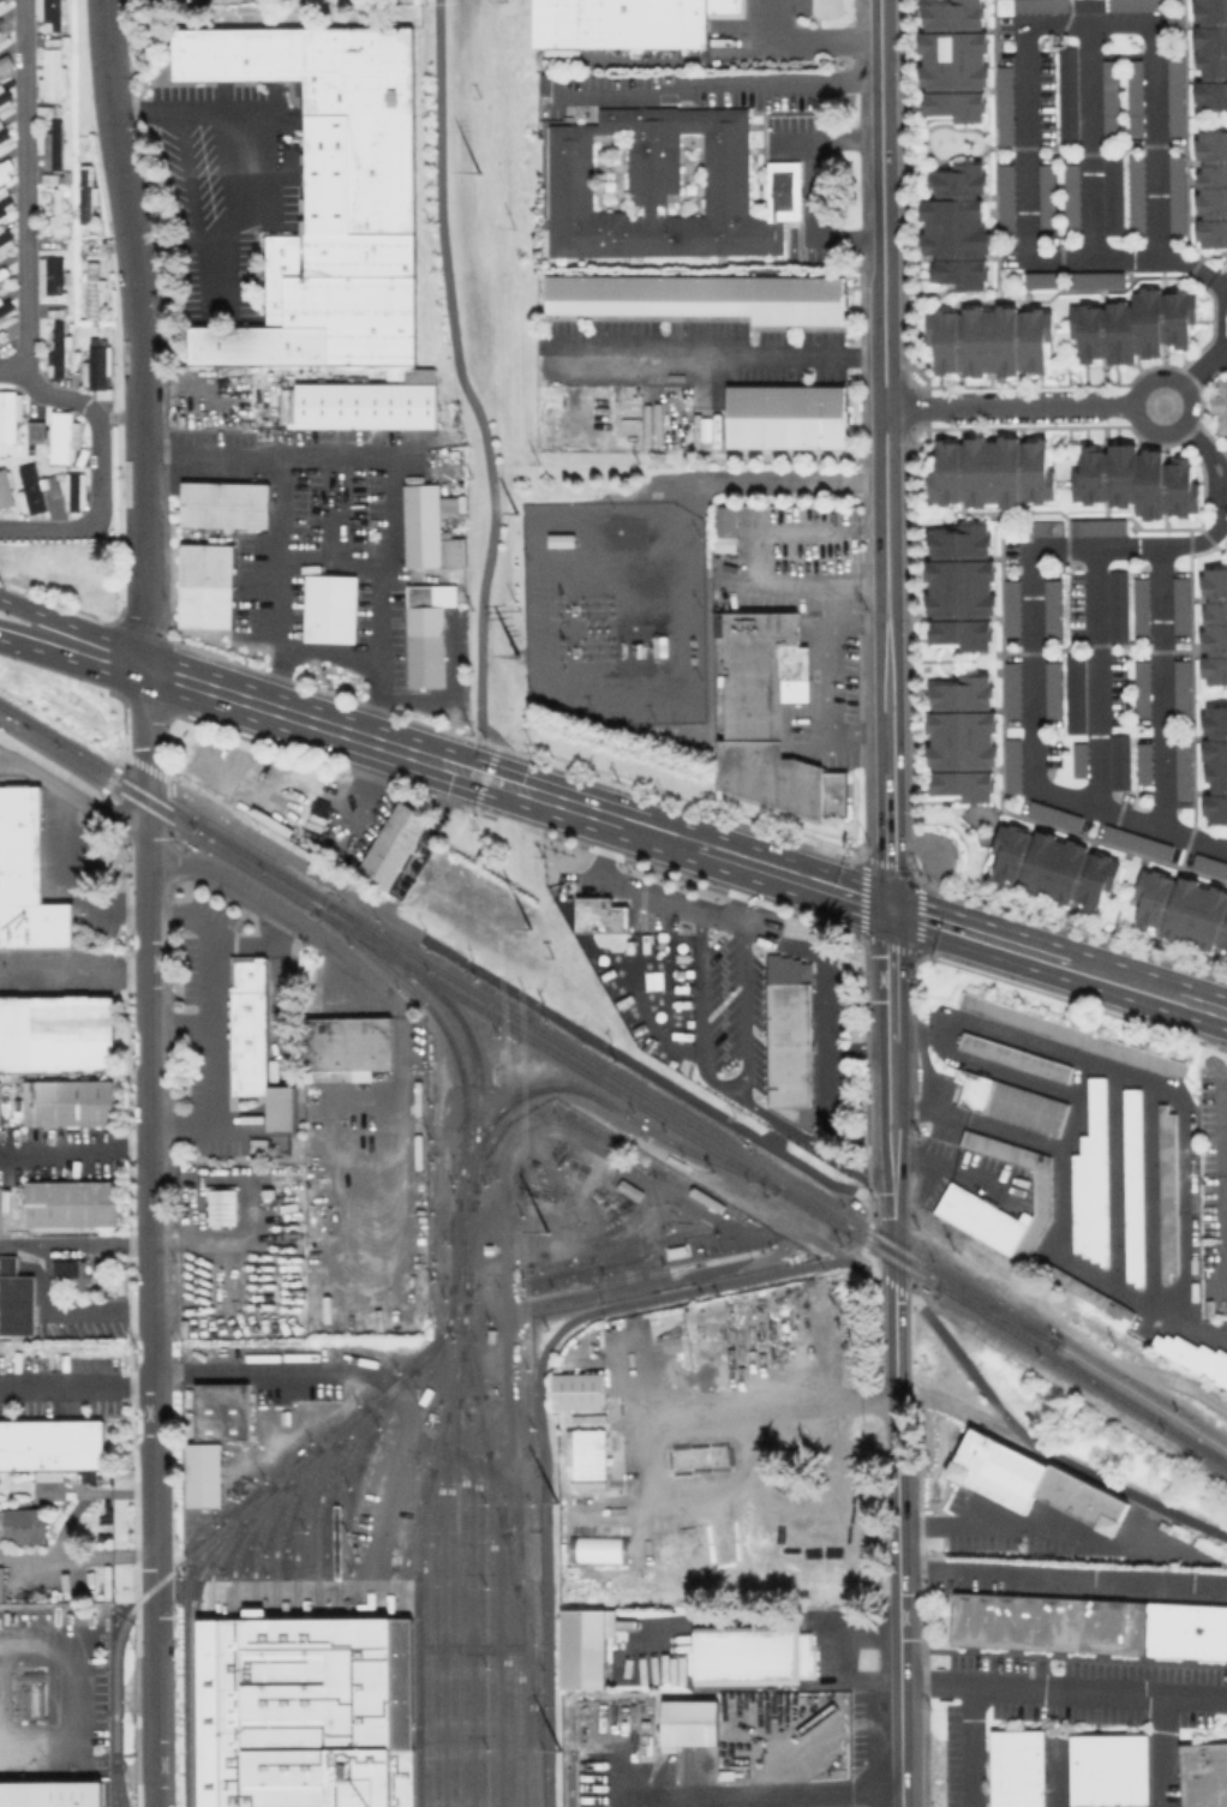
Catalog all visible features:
building: (2, 1)
building: (1043, 6)
building: (1093, 6)
building: (1139, 6)
building: (47, 13)
building: (627, 22)
building: (1177, 25)
road: (814, 40)
road: (1020, 52)
building: (1214, 56)
building: (957, 60)
building: (50, 74)
building: (569, 78)
road: (718, 80)
building: (4, 97)
building: (1071, 97)
building: (1178, 97)
building: (1138, 98)
building: (1112, 100)
building: (1007, 107)
road: (125, 112)
building: (2, 134)
road: (880, 136)
road: (1088, 137)
building: (50, 145)
road: (246, 154)
building: (5, 168)
building: (664, 185)
road: (810, 189)
building: (1214, 191)
building: (84, 193)
building: (1179, 195)
building: (329, 196)
building: (1075, 196)
building: (1115, 196)
building: (1139, 196)
building: (1049, 197)
road: (26, 201)
building: (5, 202)
building: (1010, 202)
building: (53, 223)
building: (959, 226)
building: (4, 239)
building: (49, 275)
building: (1043, 281)
building: (1099, 281)
road: (1217, 281)
building: (90, 289)
building: (705, 298)
building: (5, 305)
building: (1133, 325)
road: (137, 331)
building: (992, 340)
road: (718, 347)
building: (55, 351)
building: (95, 364)
road: (460, 365)
road: (1191, 373)
building: (421, 375)
road: (882, 389)
building: (1220, 400)
building: (364, 407)
road: (1022, 407)
building: (8, 414)
building: (789, 418)
building: (35, 430)
building: (61, 437)
road: (1201, 448)
building: (994, 473)
road: (102, 475)
building: (1138, 480)
road: (792, 485)
building: (5, 489)
building: (34, 489)
building: (72, 491)
building: (223, 505)
road: (280, 508)
building: (1048, 528)
building: (1101, 528)
building: (427, 529)
building: (728, 531)
building: (562, 539)
road: (388, 541)
road: (752, 556)
road: (885, 560)
building: (204, 587)
building: (962, 587)
building: (1183, 605)
building: (1120, 606)
building: (1143, 606)
power substation: (615, 609)
building: (1014, 609)
building: (1054, 609)
building: (329, 610)
building: (1215, 626)
road: (74, 628)
building: (424, 634)
road: (72, 662)
road: (1030, 662)
road: (1095, 672)
road: (819, 677)
road: (1161, 681)
building: (1184, 688)
building: (1145, 689)
building: (1055, 690)
building: (1016, 692)
building: (1078, 694)
building: (771, 716)
road: (315, 720)
road: (490, 734)
road: (4, 736)
railway: (54, 737)
building: (965, 740)
road: (1, 750)
railway: (55, 753)
road: (887, 761)
building: (1082, 761)
building: (1123, 764)
building: (1147, 765)
building: (1016, 766)
building: (1217, 768)
building: (1185, 772)
railway: (114, 773)
road: (80, 782)
railway: (144, 790)
road: (73, 792)
road: (68, 797)
road: (194, 800)
railway: (142, 804)
building: (1057, 816)
railway: (186, 818)
building: (395, 843)
road: (686, 843)
building: (1139, 843)
railway: (240, 863)
railway: (264, 866)
building: (1211, 866)
building: (1057, 867)
road: (66, 874)
building: (25, 876)
road: (334, 884)
road: (756, 898)
road: (271, 908)
road: (671, 908)
traffic signals: (890, 909)
building: (1185, 910)
road: (136, 913)
road: (166, 913)
building: (599, 915)
railway: (479, 921)
railway: (361, 929)
railway: (353, 932)
road: (256, 941)
railway: (354, 941)
railway: (424, 961)
road: (1058, 962)
road: (59, 970)
road: (134, 970)
railway: (430, 987)
railway: (457, 995)
road: (891, 1012)
road: (211, 1017)
road: (181, 1023)
building: (247, 1025)
building: (55, 1033)
building: (1073, 1034)
building: (788, 1037)
building: (347, 1045)
building: (1016, 1055)
railway: (457, 1065)
railway: (477, 1066)
road: (735, 1076)
railway: (535, 1089)
road: (687, 1095)
building: (67, 1102)
building: (1013, 1102)
railway: (647, 1111)
road: (233, 1120)
railway: (692, 1123)
road: (173, 1124)
building: (418, 1131)
road: (131, 1149)
road: (55, 1150)
railway: (473, 1151)
railway: (713, 1160)
building: (1094, 1179)
building: (1135, 1185)
railway: (459, 1186)
building: (628, 1190)
building: (1169, 1191)
building: (269, 1192)
road: (1220, 1193)
road: (892, 1201)
building: (70, 1203)
building: (221, 1205)
railway: (818, 1214)
road: (152, 1235)
building: (1008, 1235)
road: (76, 1243)
railway: (891, 1244)
railway: (460, 1245)
railway: (461, 1245)
railway: (891, 1257)
railway: (687, 1264)
road: (861, 1268)
building: (67, 1273)
railway: (645, 1273)
railway: (617, 1274)
railway: (927, 1280)
road: (504, 1286)
road: (635, 1287)
railway: (463, 1292)
building: (16, 1299)
railway: (963, 1299)
railway: (987, 1303)
road: (58, 1310)
road: (138, 1312)
railway: (992, 1320)
railway: (1024, 1327)
building: (760, 1336)
road: (894, 1336)
building: (581, 1346)
building: (1190, 1357)
road: (61, 1387)
road: (138, 1387)
railway: (390, 1388)
building: (579, 1390)
road: (939, 1394)
railway: (1141, 1395)
road: (777, 1405)
railway: (445, 1407)
railway: (1139, 1408)
building: (220, 1411)
railway: (348, 1424)
road: (543, 1430)
road: (1035, 1442)
building: (50, 1444)
road: (459, 1455)
railway: (299, 1465)
road: (399, 1467)
building: (200, 1474)
rooftop solar panel: (50, 1478)
building: (1034, 1483)
building: (52, 1489)
railway: (262, 1492)
railway: (495, 1497)
railway: (316, 1504)
railway: (335, 1508)
railway: (280, 1521)
building: (23, 1524)
railway: (294, 1524)
road: (980, 1528)
railway: (411, 1539)
railway: (253, 1542)
railway: (208, 1543)
railway: (239, 1544)
road: (77, 1560)
railway: (211, 1568)
road: (1063, 1579)
road: (898, 1596)
railway: (449, 1600)
railway: (461, 1600)
railway: (478, 1600)
railway: (433, 1609)
railway: (295, 1615)
railway: (489, 1627)
building: (1090, 1627)
road: (443, 1628)
railway: (188, 1632)
road: (471, 1634)
railway: (421, 1637)
building: (588, 1649)
road: (498, 1652)
building: (748, 1653)
building: (808, 1655)
railway: (252, 1667)
railway: (507, 1668)
railway: (532, 1669)
railway: (274, 1670)
railway: (295, 1670)
railway: (316, 1670)
railway: (336, 1670)
railway: (400, 1670)
railway: (208, 1673)
railway: (232, 1673)
road: (415, 1673)
road: (1063, 1691)
railway: (517, 1695)
road: (70, 1698)
building: (304, 1712)
building: (687, 1723)
road: (977, 1747)
railway: (355, 1749)
road: (113, 1752)
road: (1162, 1752)
building: (1016, 1767)
building: (1107, 1770)
building: (1203, 1775)
railway: (209, 1778)
railway: (233, 1778)
railway: (255, 1778)
railway: (275, 1778)
railway: (295, 1778)
railway: (317, 1778)
railway: (401, 1778)
railway: (114, 1784)
road: (765, 1790)
building: (50, 1794)

